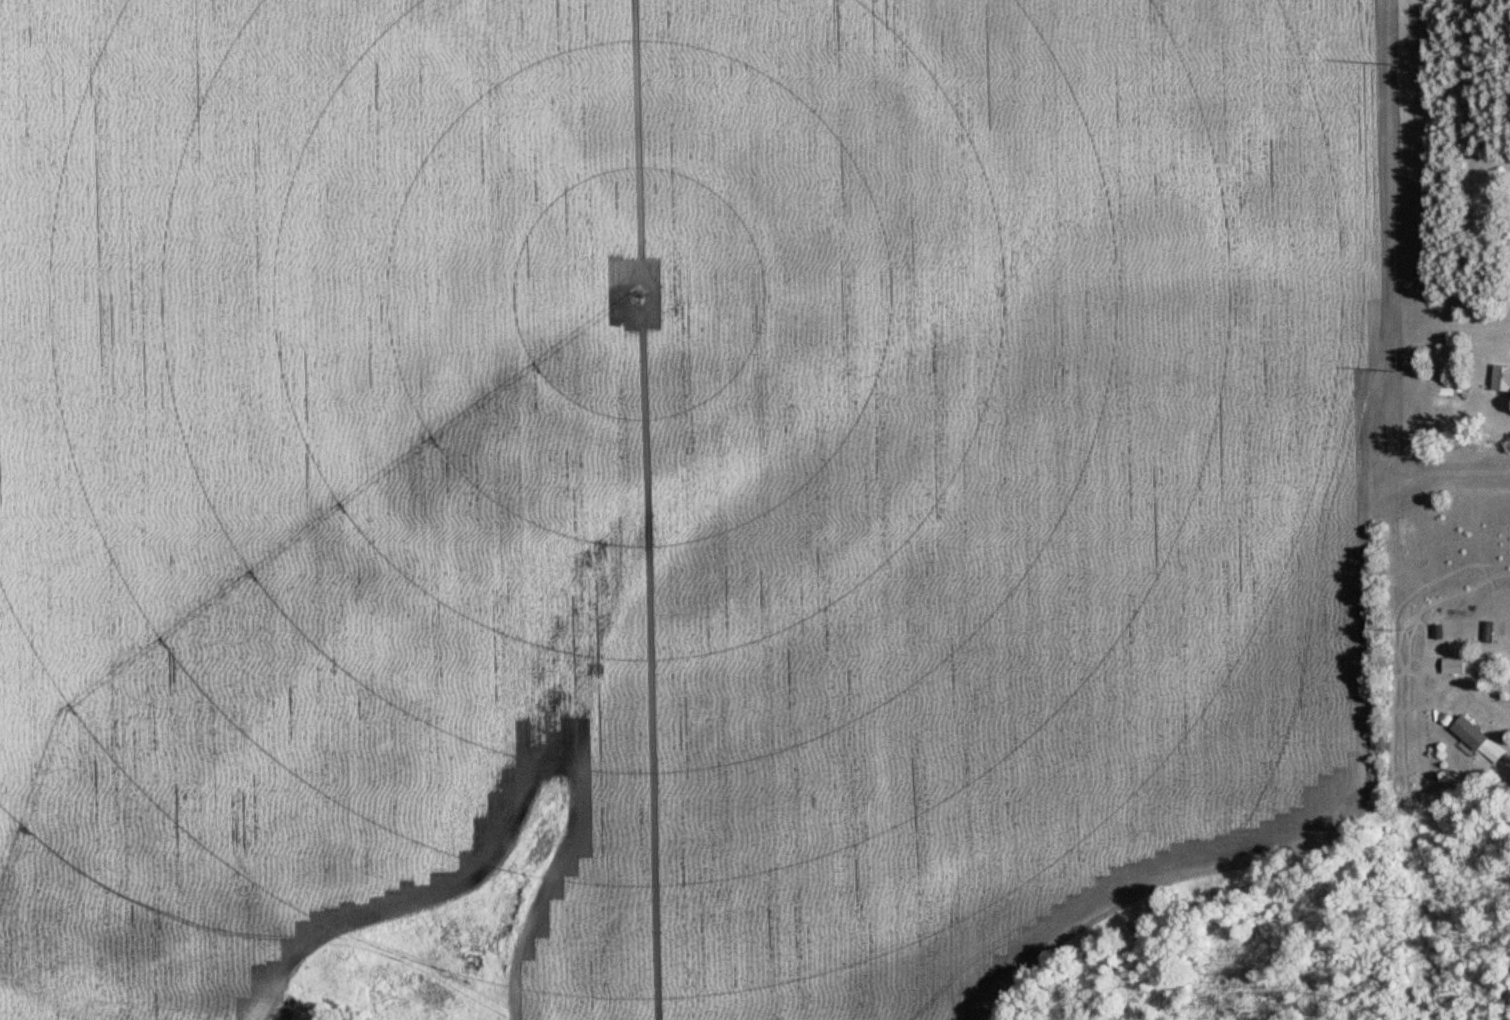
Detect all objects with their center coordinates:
building: (1503, 377)
building: (1489, 631)
building: (1455, 666)
building: (1479, 740)

